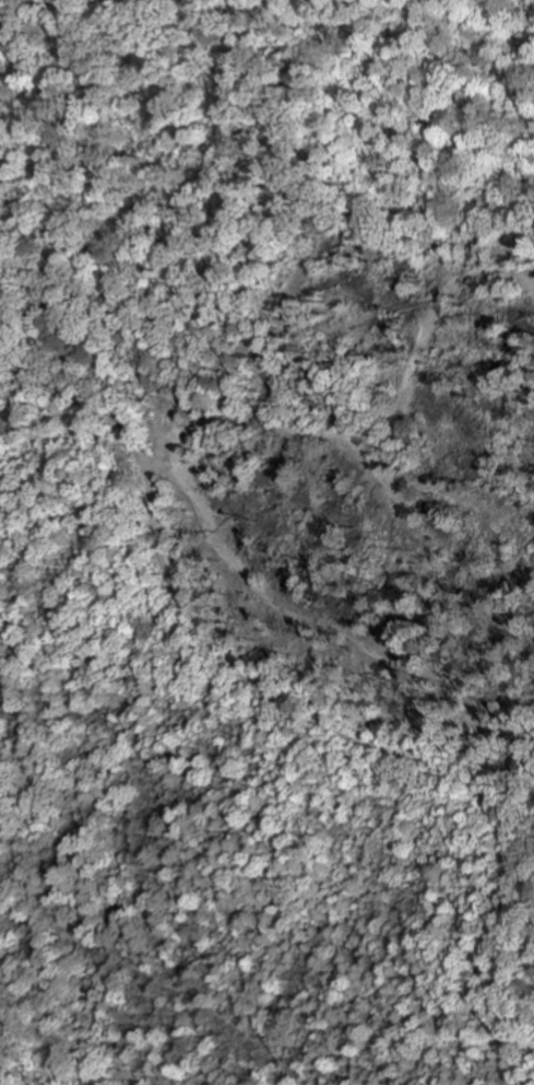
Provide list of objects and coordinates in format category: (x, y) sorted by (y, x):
road: (308, 710)
road: (144, 982)

